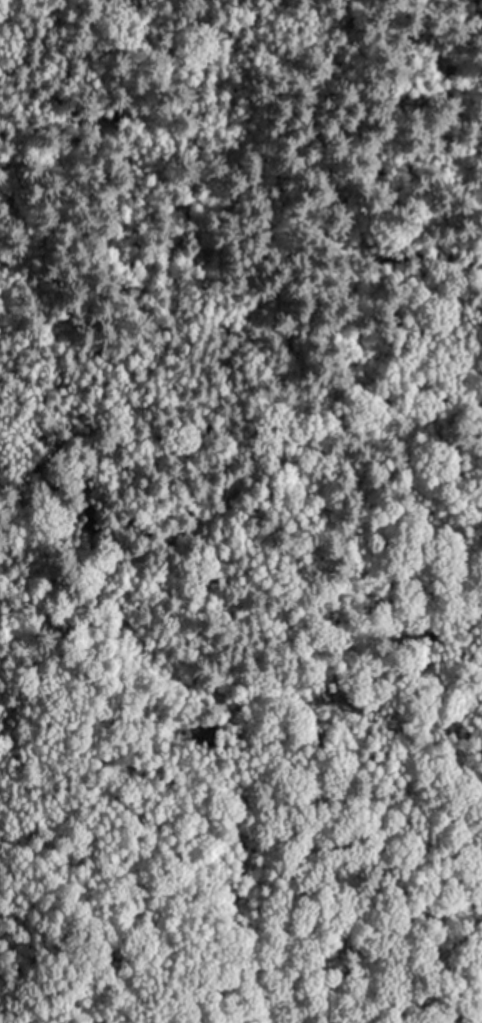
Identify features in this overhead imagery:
road: (251, 699)

